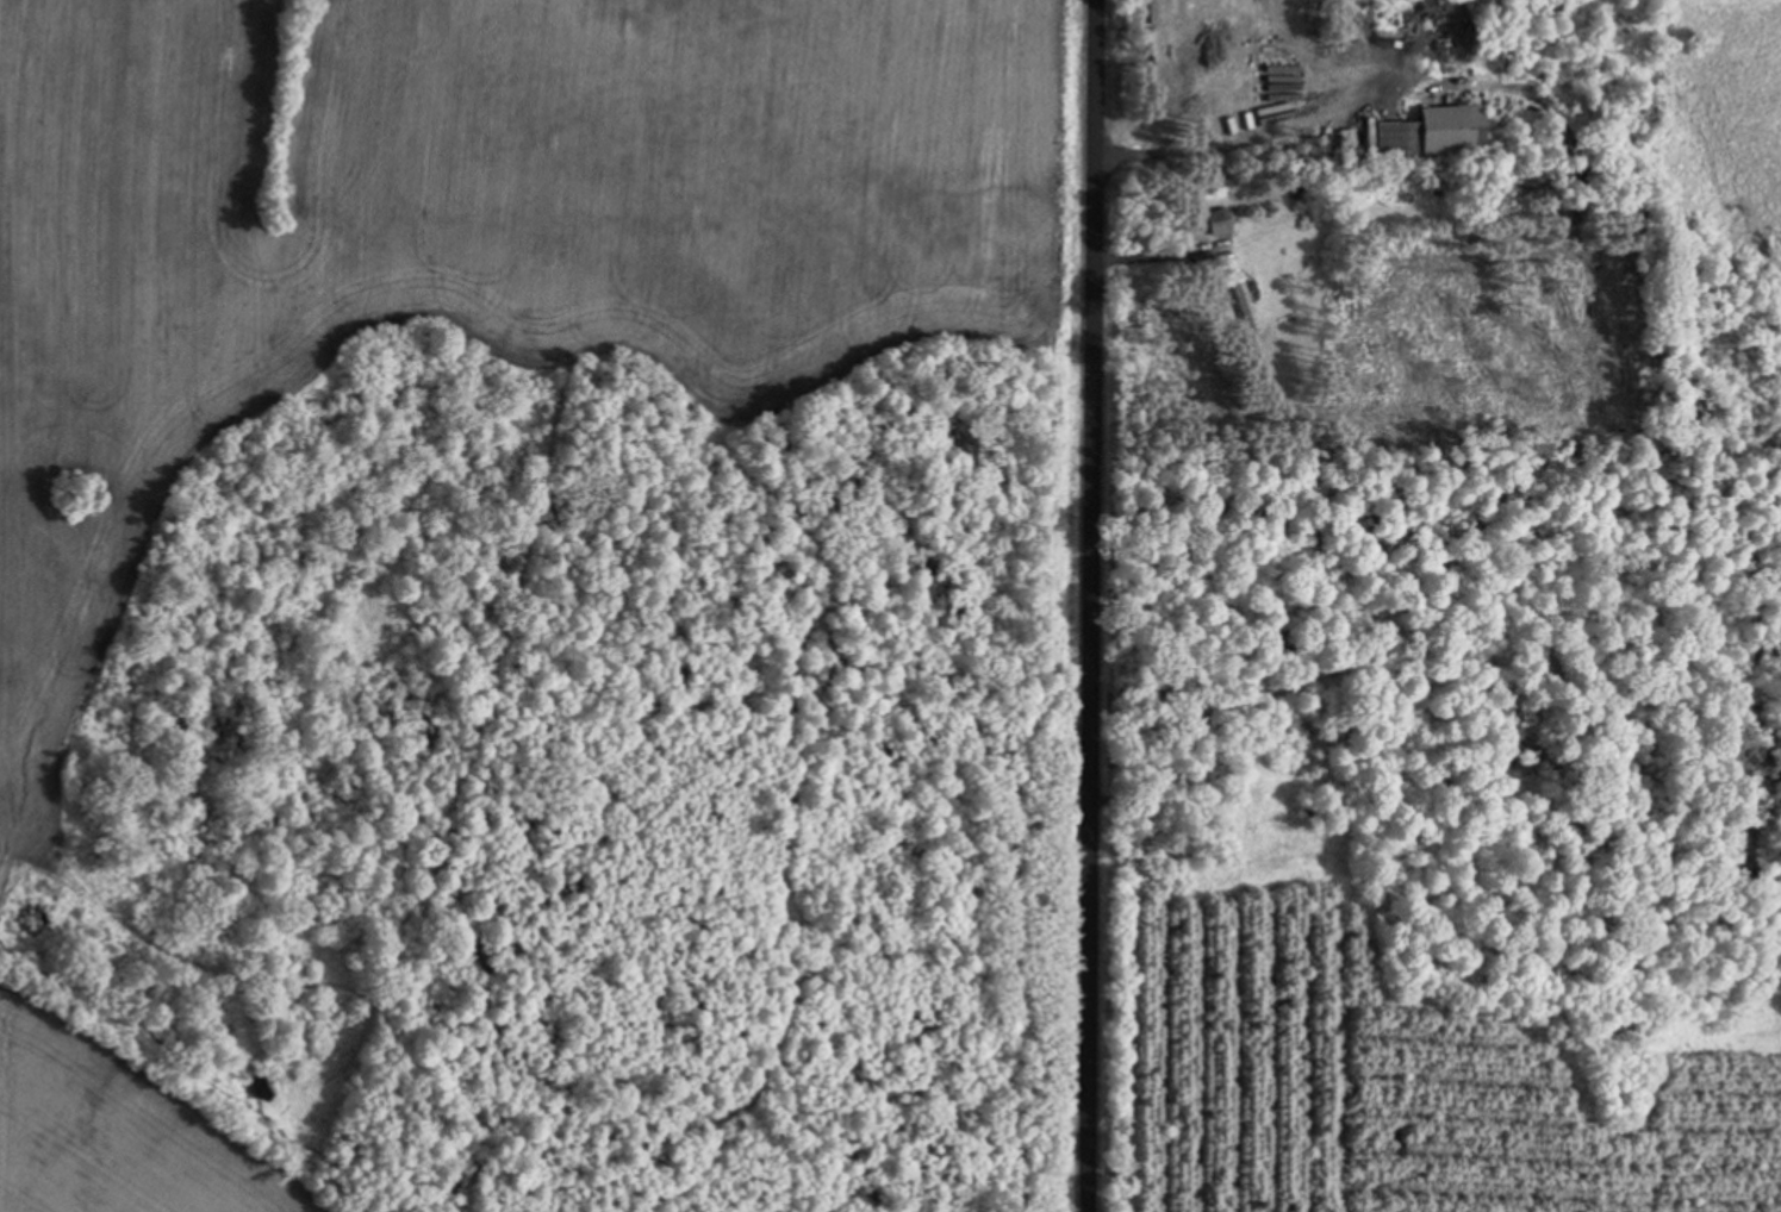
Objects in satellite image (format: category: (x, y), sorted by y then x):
building: (1437, 130)
building: (1219, 220)
building: (1251, 306)
road: (1103, 605)

